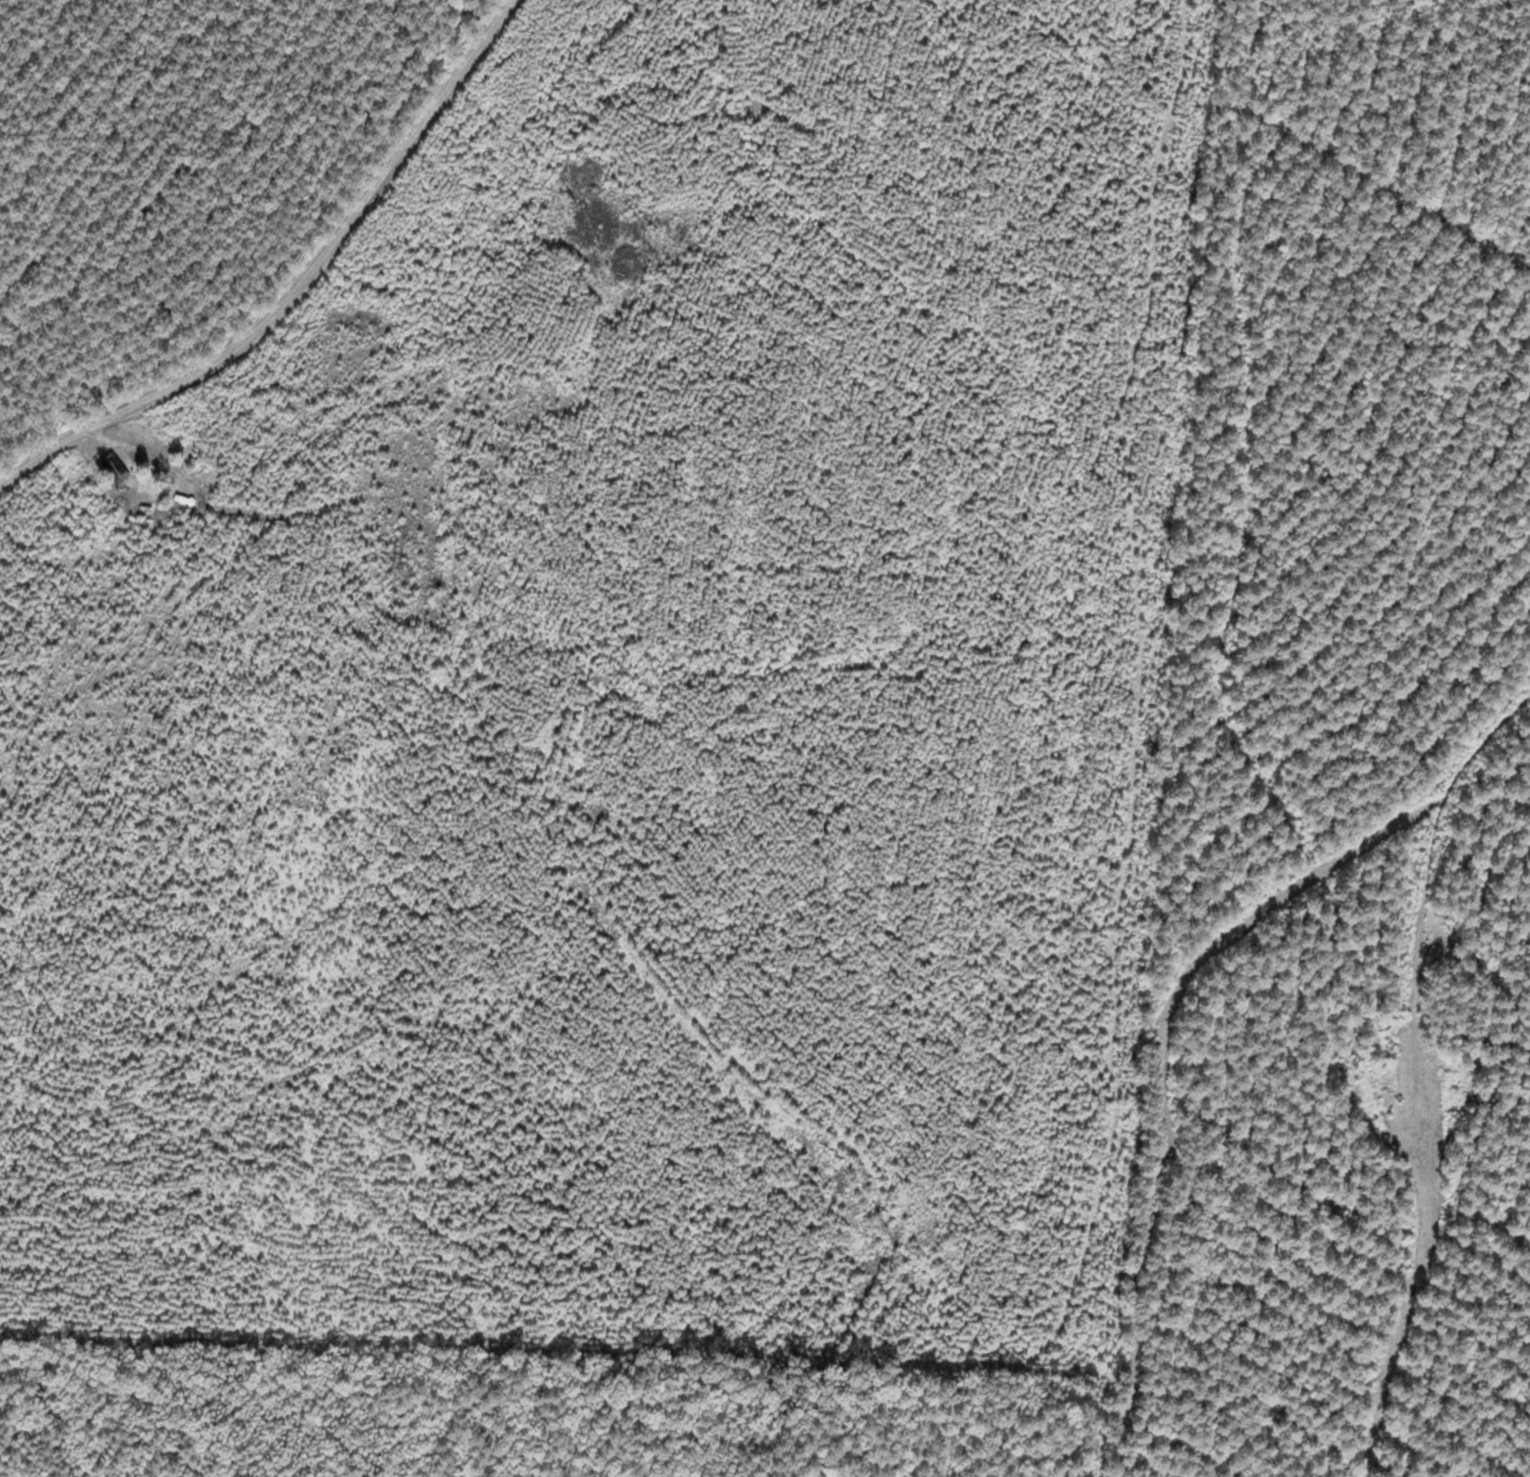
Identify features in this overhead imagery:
road: (284, 284)

